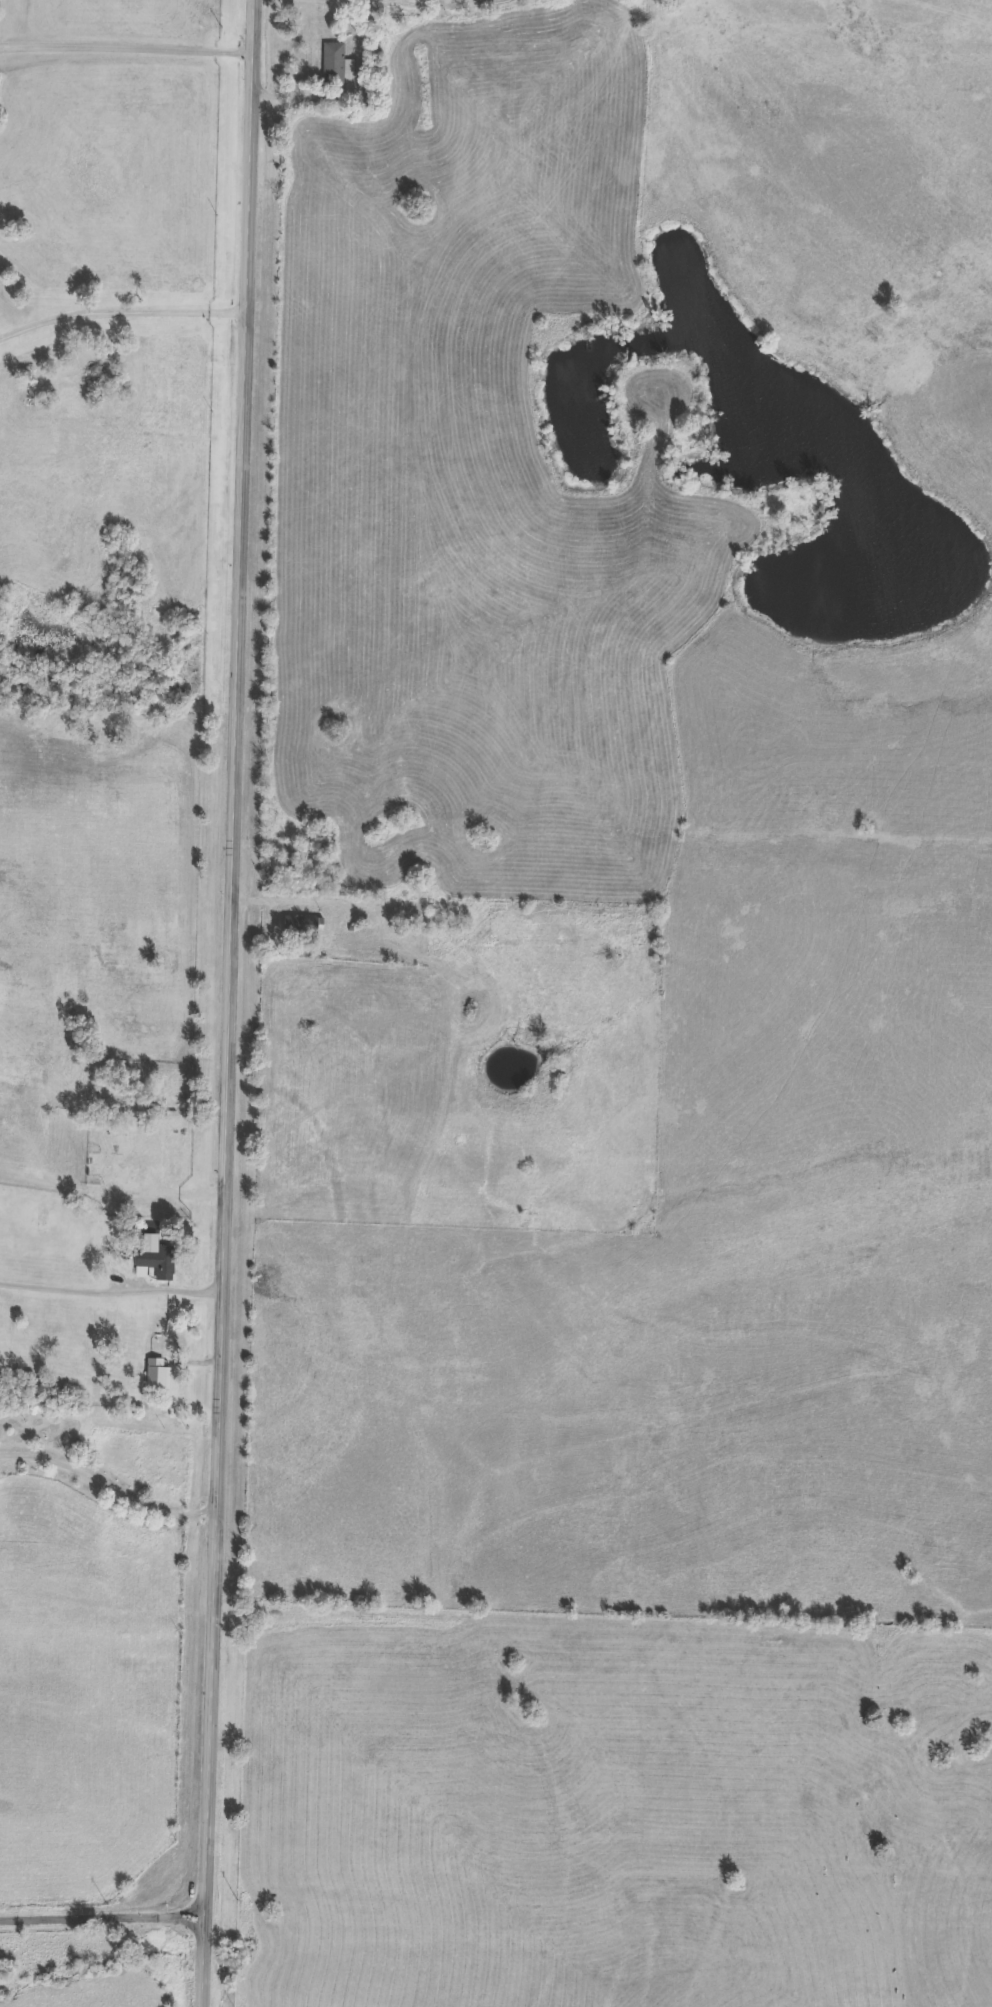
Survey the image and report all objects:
road: (125, 48)
building: (335, 65)
road: (295, 89)
road: (120, 312)
building: (64, 386)
road: (270, 897)
building: (304, 925)
road: (224, 1003)
building: (136, 1106)
building: (159, 1262)
road: (110, 1295)
building: (159, 1376)
road: (109, 1478)
road: (106, 1916)

